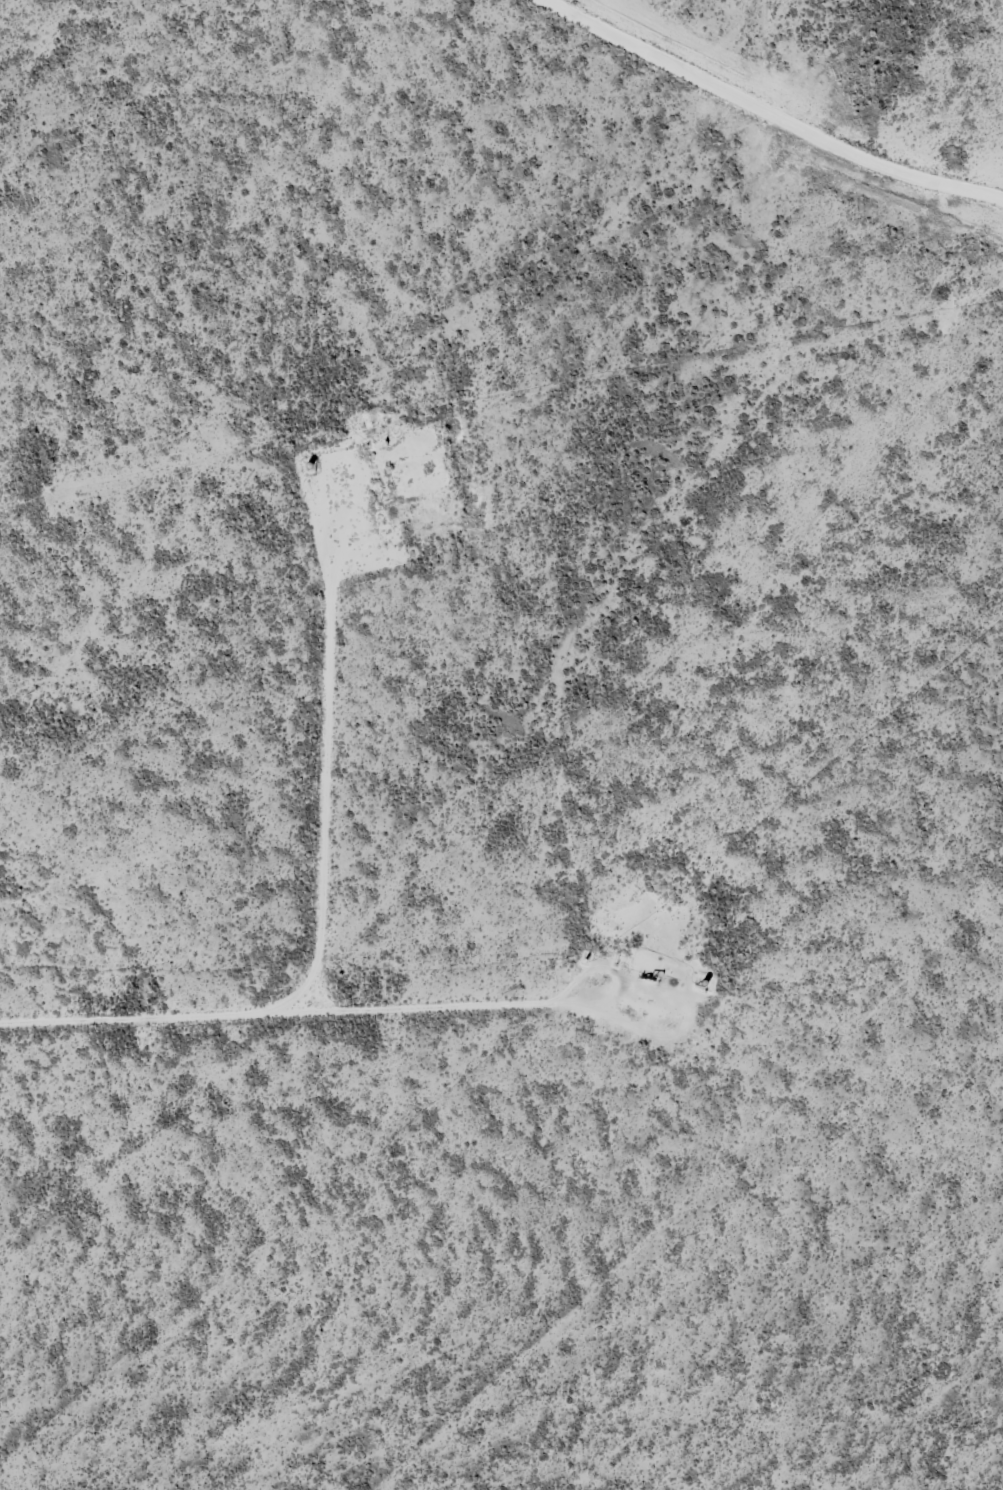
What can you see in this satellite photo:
road: (729, 117)
road: (517, 826)

